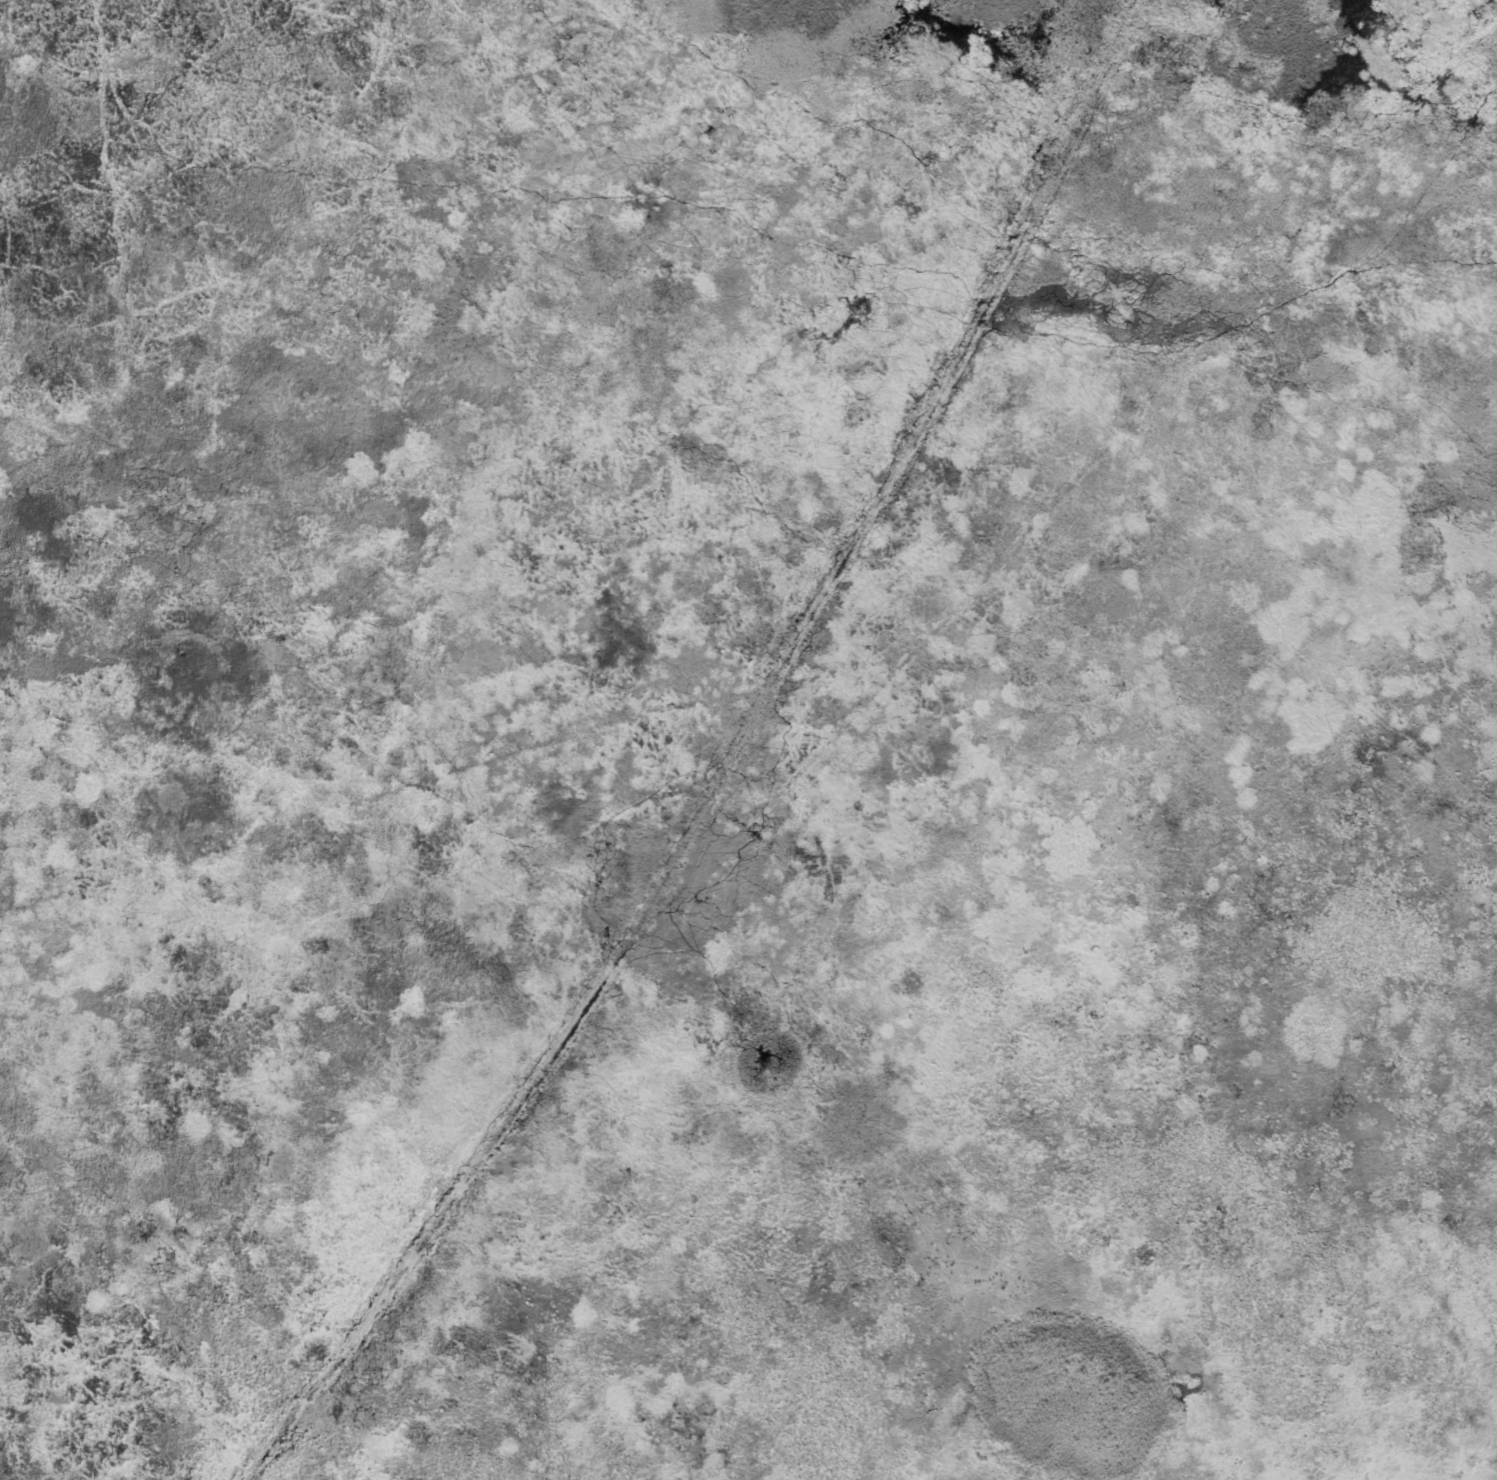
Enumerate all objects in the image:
park: (1384, 1446)

